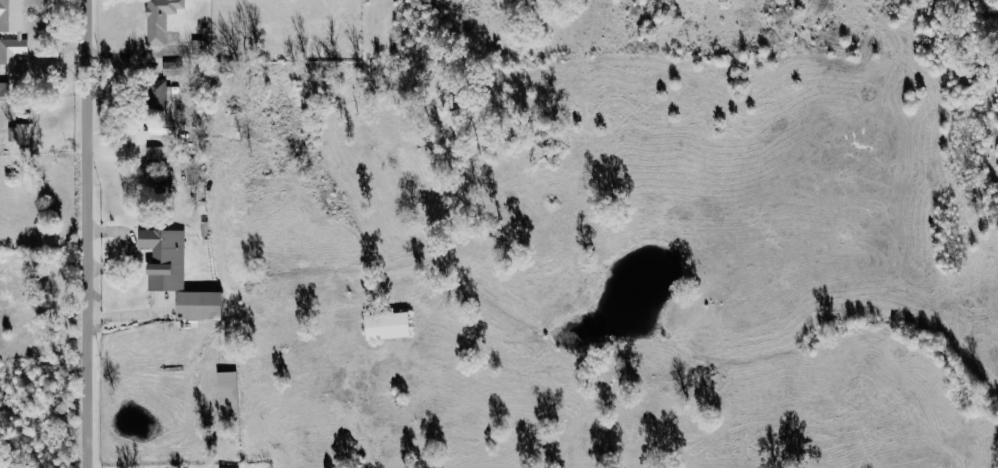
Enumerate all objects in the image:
building: (12, 16)
building: (161, 19)
building: (174, 68)
building: (159, 94)
building: (21, 133)
building: (156, 154)
building: (166, 182)
road: (85, 234)
building: (166, 258)
building: (387, 325)
building: (229, 394)
building: (239, 467)

